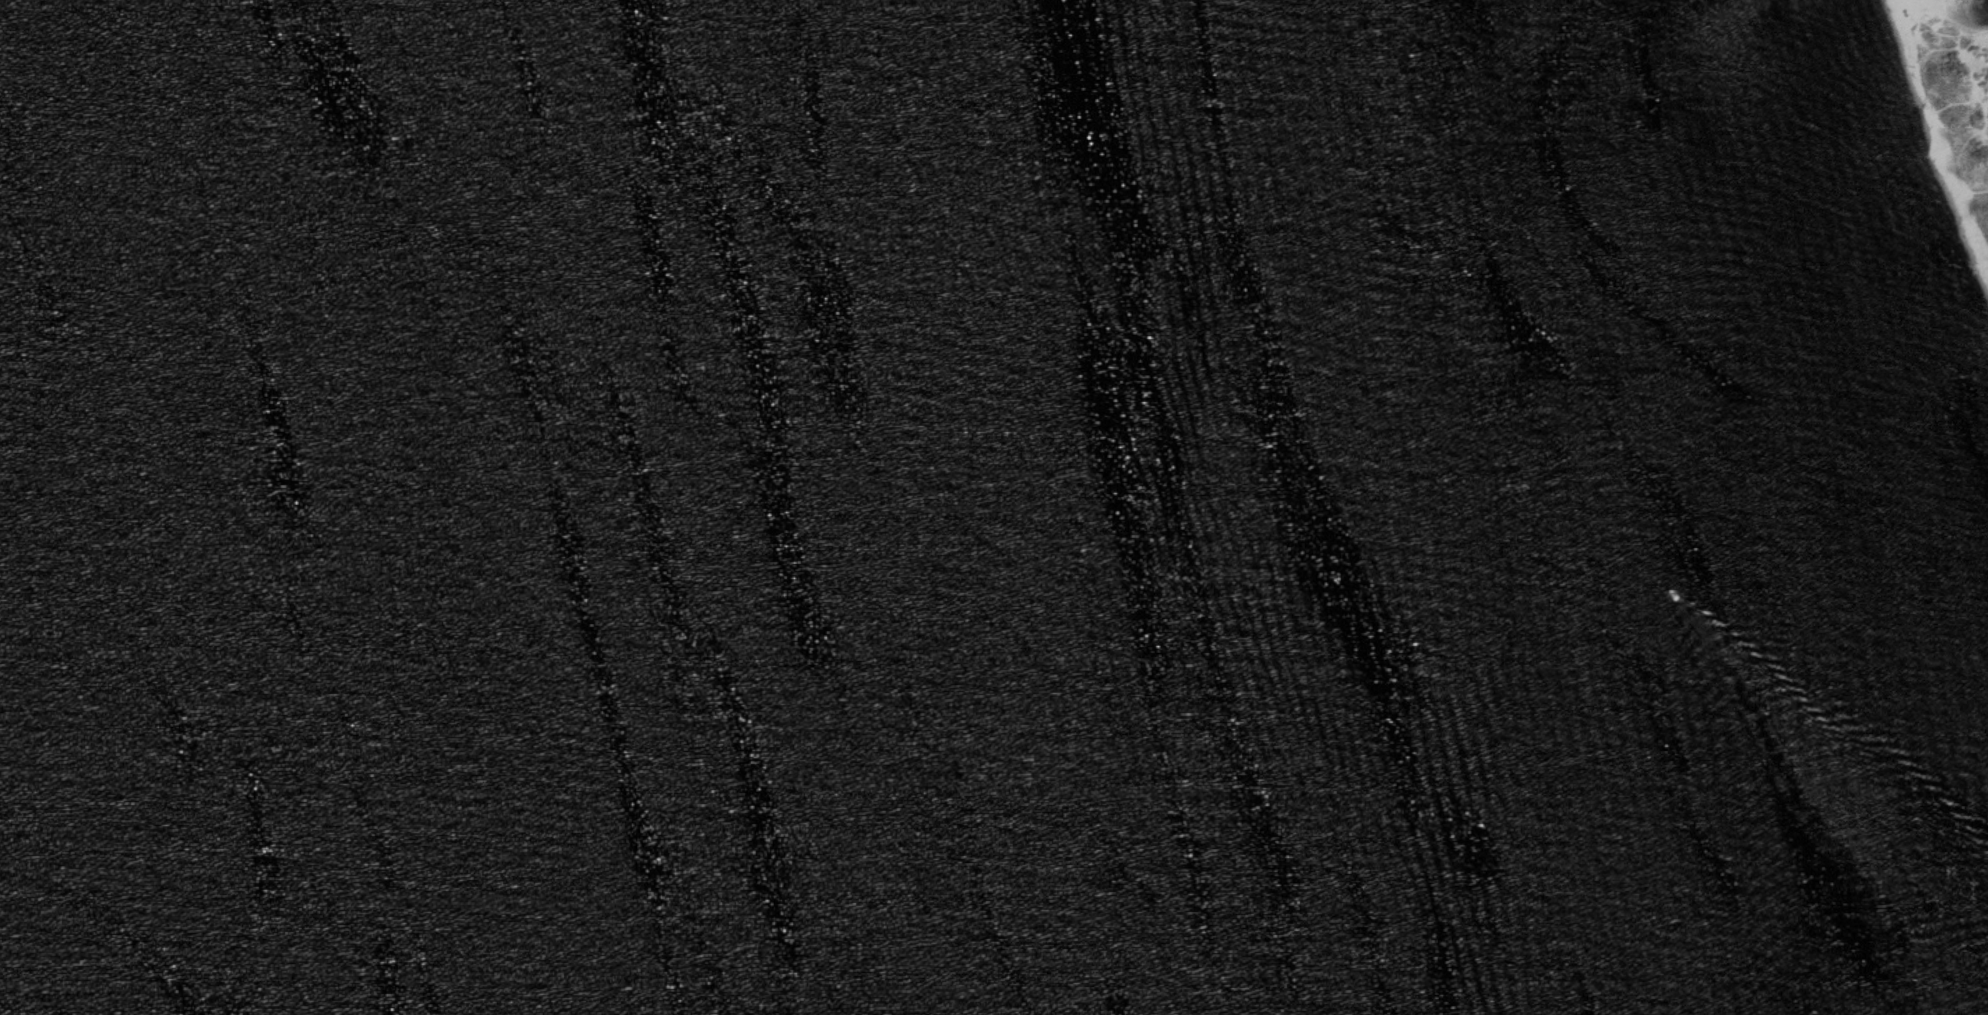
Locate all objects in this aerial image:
park: (1895, 208)

